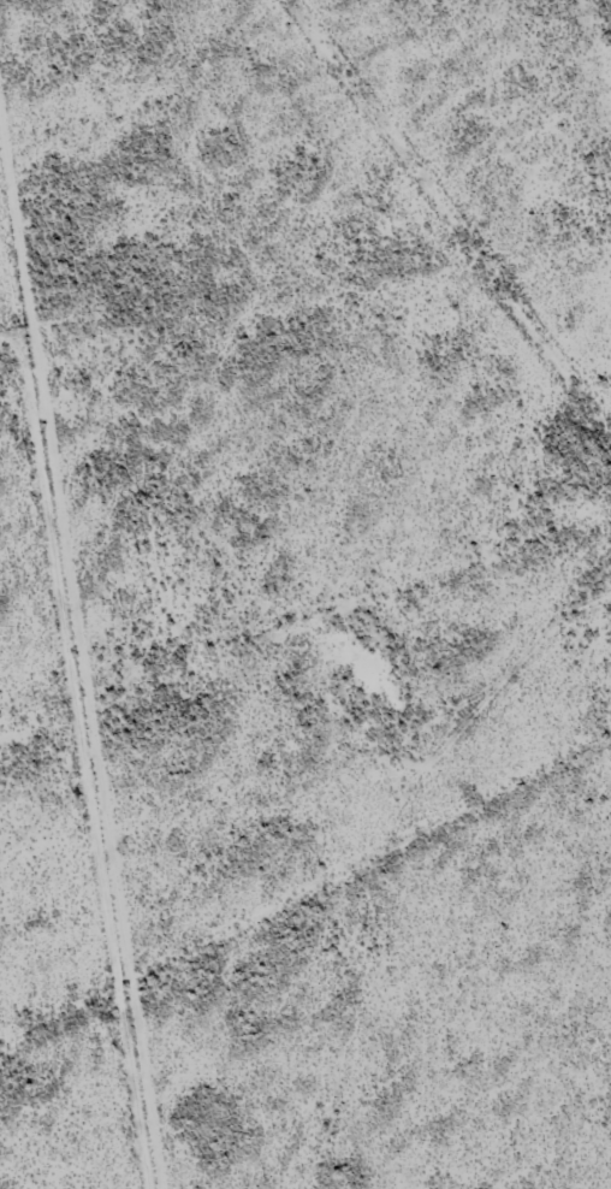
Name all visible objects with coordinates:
road: (446, 207)

